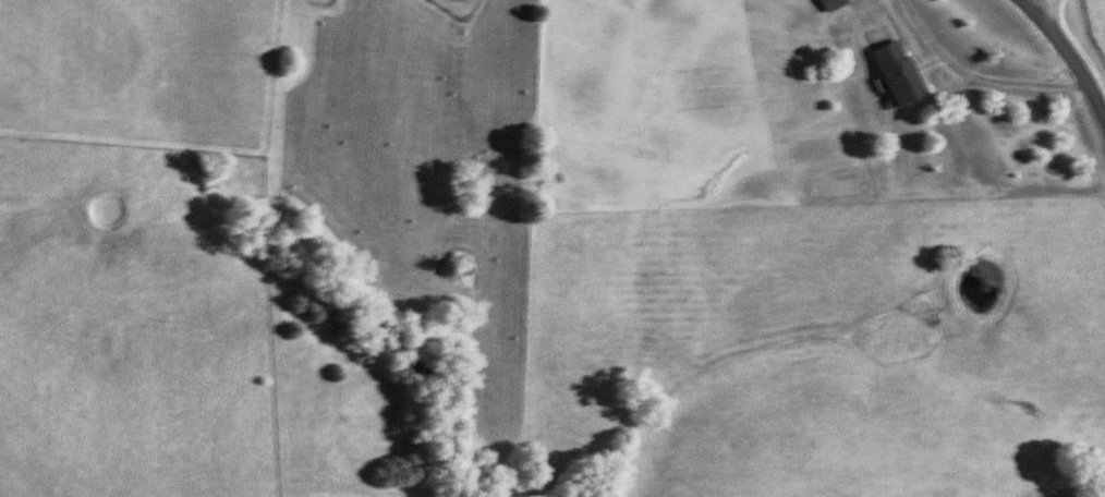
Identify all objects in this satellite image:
building: (826, 4)
road: (1049, 14)
road: (1066, 56)
building: (890, 73)
road: (974, 82)
building: (1098, 472)

